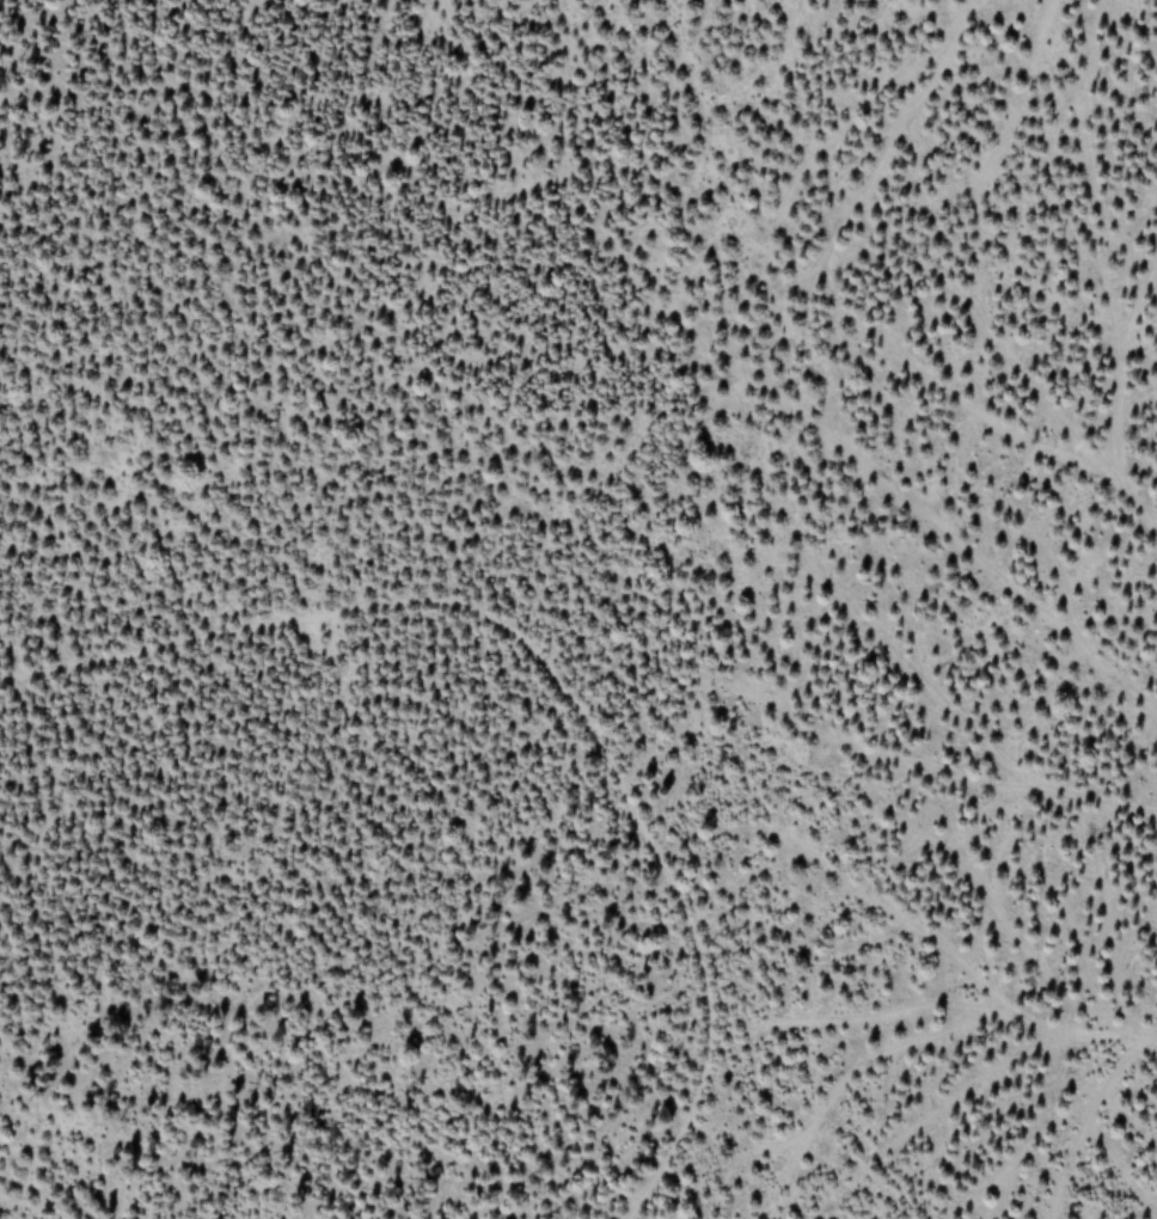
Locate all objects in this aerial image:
road: (274, 625)
road: (687, 929)

